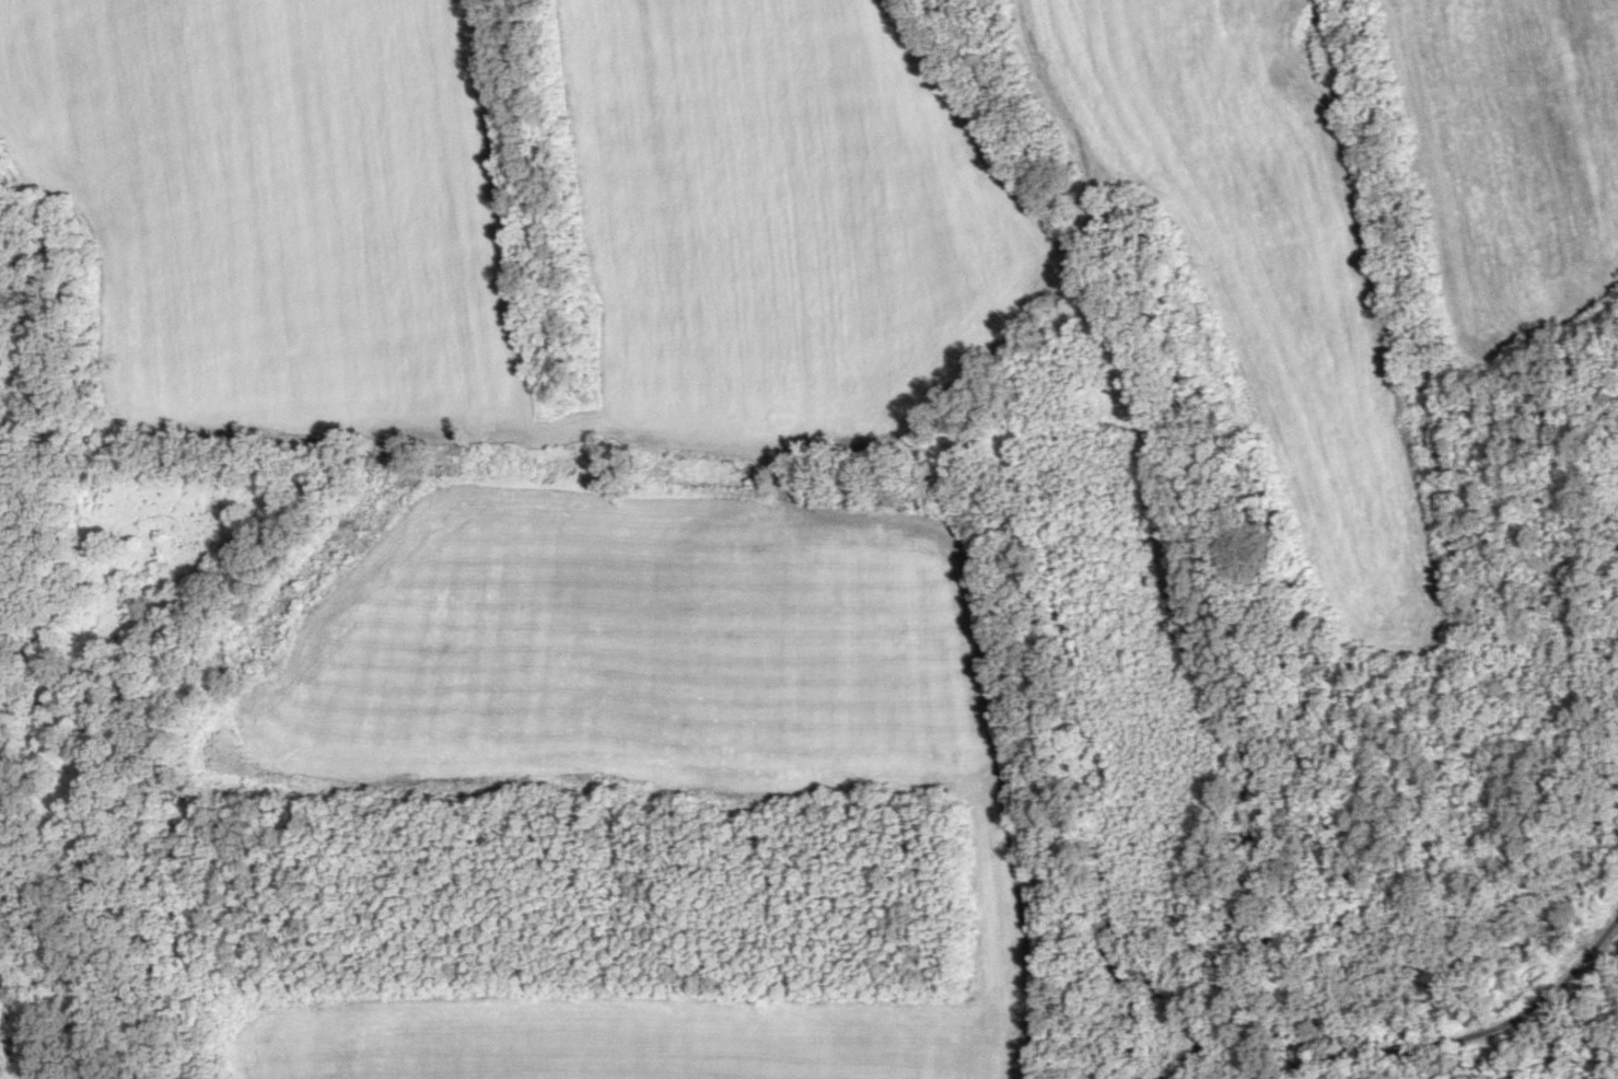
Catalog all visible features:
road: (1464, 1037)

